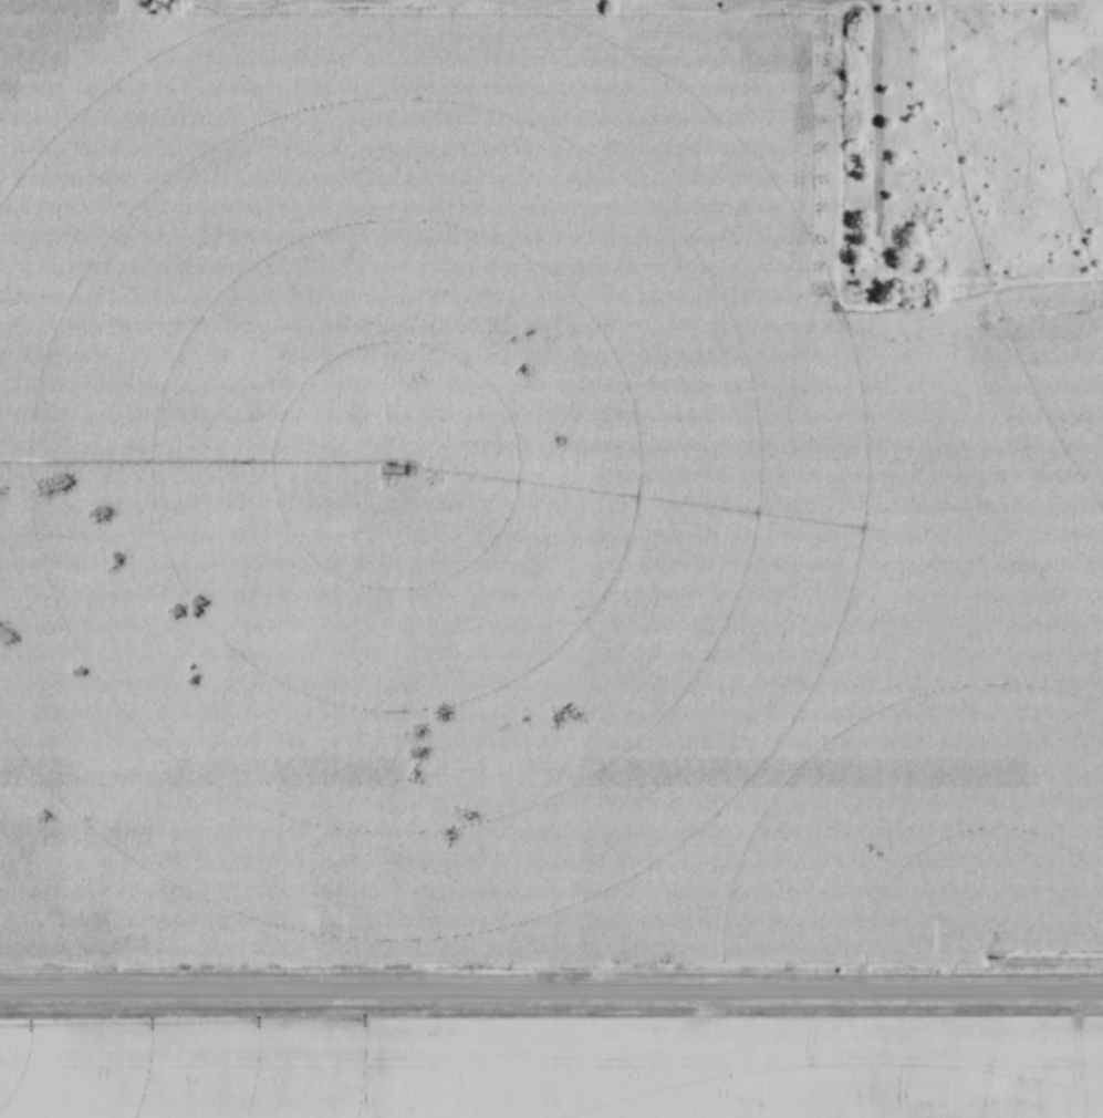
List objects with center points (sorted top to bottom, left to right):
road: (551, 995)

